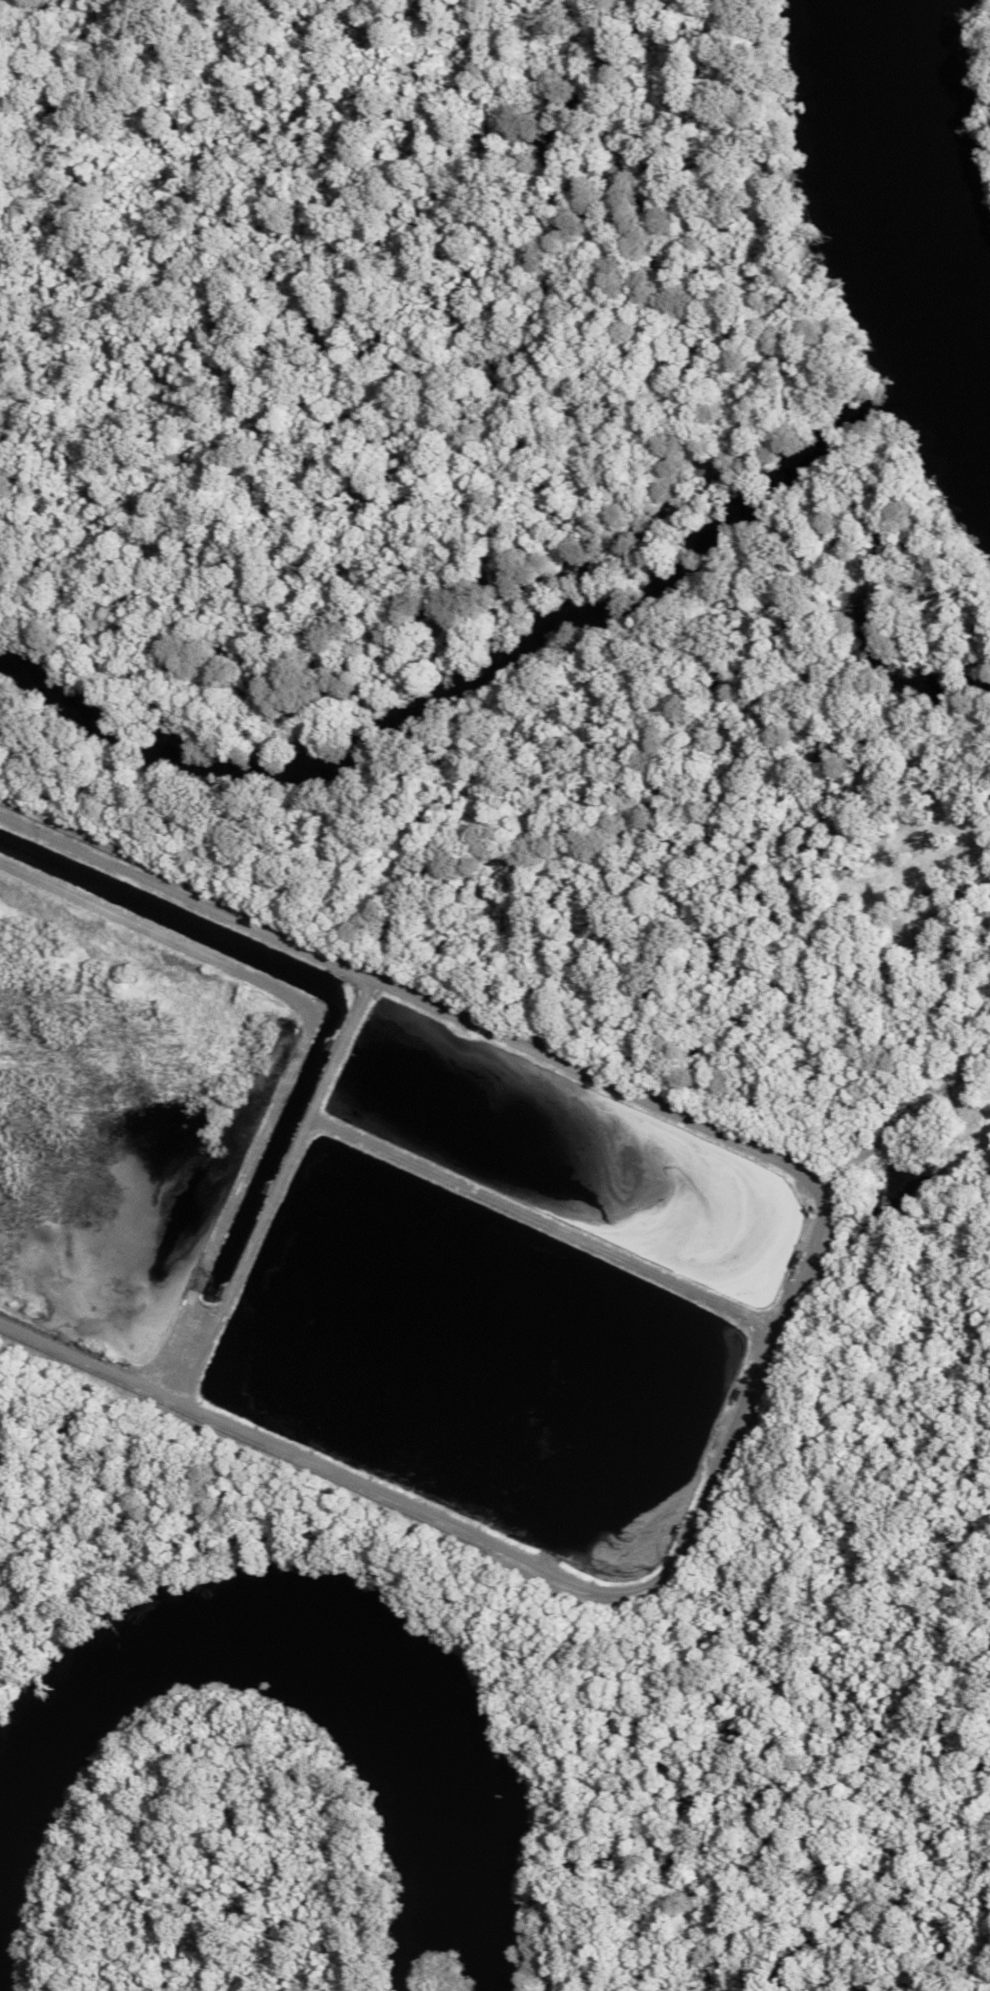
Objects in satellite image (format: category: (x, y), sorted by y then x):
river: (911, 205)
river: (517, 645)
road: (508, 1044)
road: (519, 1561)

